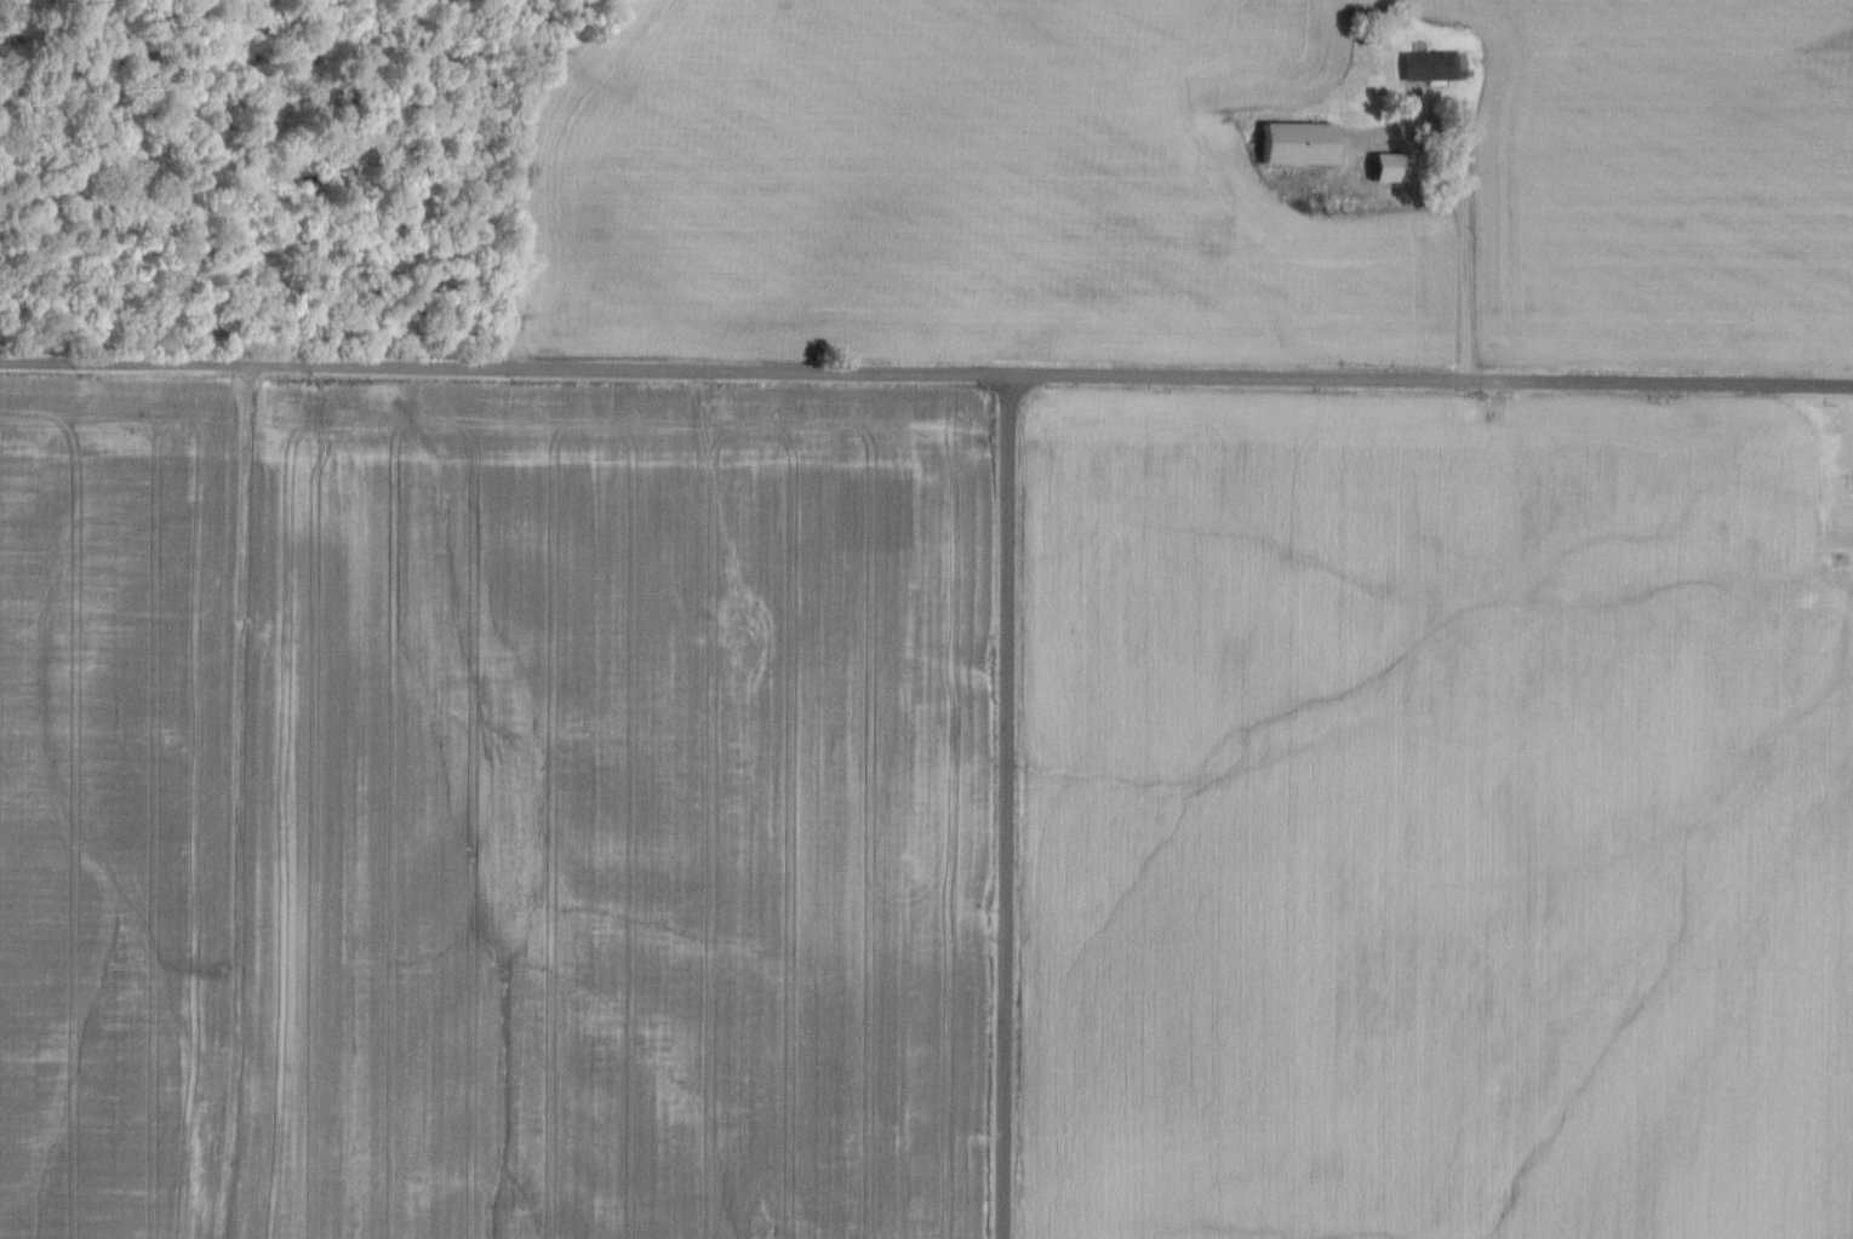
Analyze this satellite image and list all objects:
building: (1371, 16)
building: (1435, 67)
building: (1302, 145)
building: (1392, 170)
road: (522, 178)
road: (1462, 203)
road: (926, 373)
road: (1006, 805)

